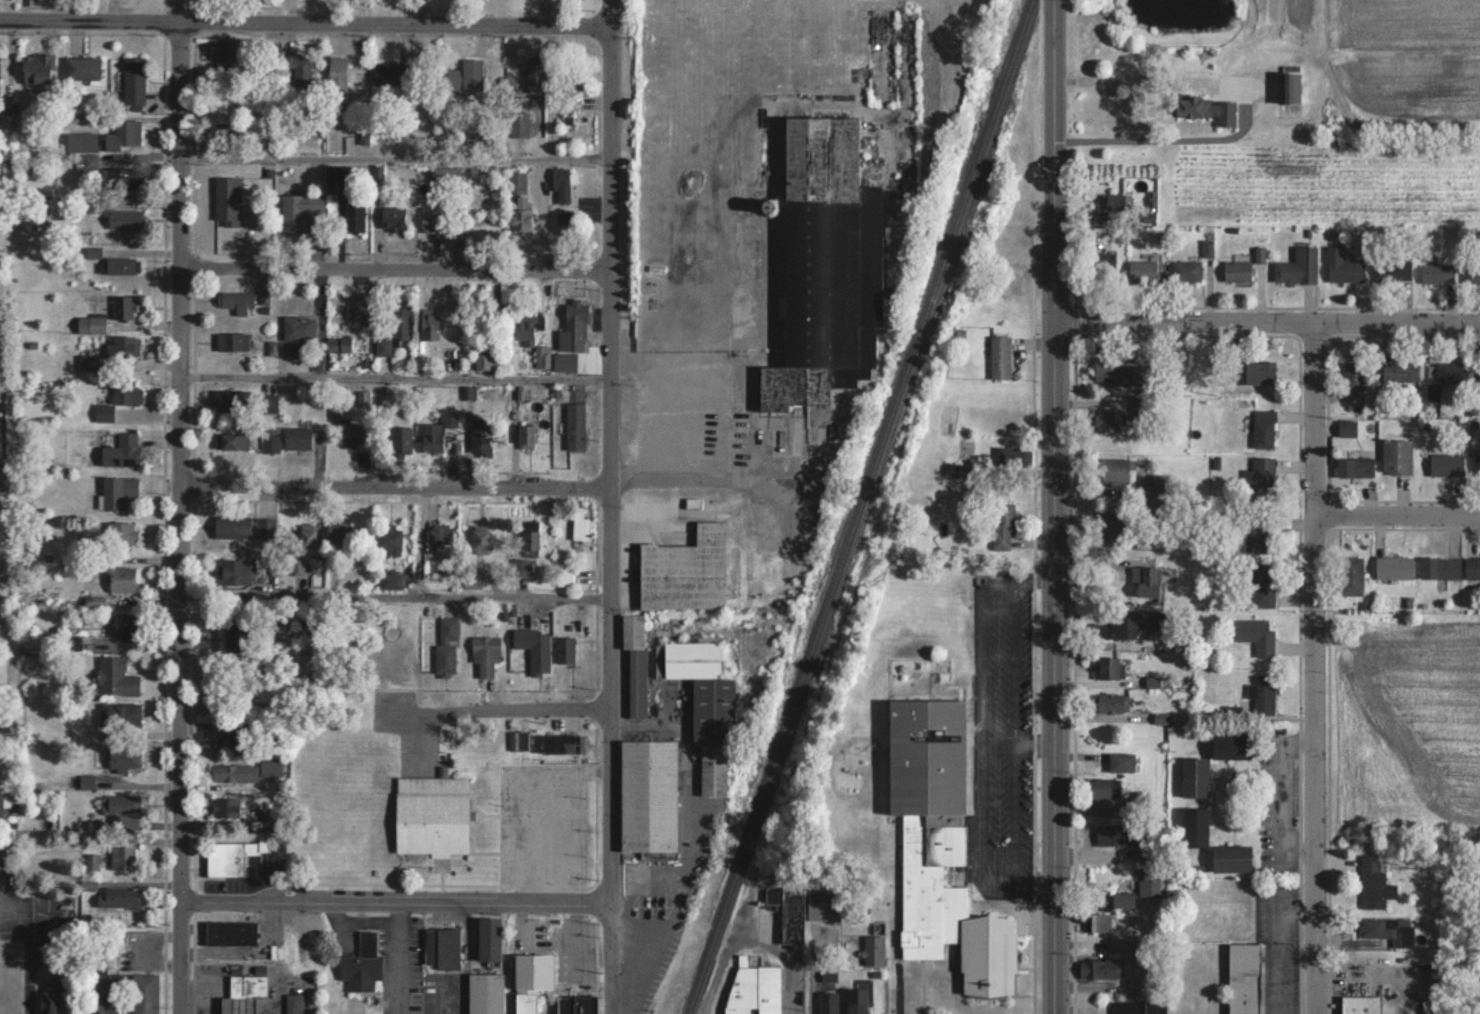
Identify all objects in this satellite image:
road: (298, 33)
building: (225, 52)
building: (295, 65)
building: (34, 68)
building: (79, 68)
building: (464, 75)
building: (335, 78)
building: (131, 79)
building: (1287, 86)
building: (1206, 108)
building: (121, 135)
building: (78, 141)
road: (1175, 141)
road: (388, 158)
building: (118, 178)
building: (561, 183)
building: (224, 200)
building: (517, 200)
building: (1115, 202)
building: (296, 210)
building: (351, 216)
building: (391, 217)
building: (121, 218)
building: (429, 218)
building: (117, 265)
building: (824, 266)
building: (1296, 266)
building: (1342, 267)
building: (1141, 269)
building: (1473, 269)
building: (1185, 270)
building: (1235, 270)
building: (1399, 270)
building: (1436, 273)
road: (388, 279)
building: (233, 300)
building: (120, 306)
building: (357, 313)
building: (88, 324)
building: (571, 326)
building: (297, 327)
building: (427, 327)
building: (393, 328)
building: (525, 328)
road: (1264, 333)
building: (230, 341)
building: (122, 349)
building: (540, 356)
building: (998, 356)
building: (85, 362)
building: (563, 362)
building: (1255, 371)
building: (1402, 371)
building: (1445, 372)
building: (1121, 373)
building: (1352, 375)
road: (388, 377)
building: (467, 391)
building: (123, 392)
building: (516, 392)
building: (227, 400)
road: (675, 400)
building: (448, 416)
building: (1105, 419)
building: (573, 426)
building: (1346, 427)
building: (349, 432)
building: (1262, 433)
building: (524, 436)
building: (295, 438)
building: (399, 440)
building: (231, 441)
building: (121, 450)
building: (1009, 455)
building: (1395, 456)
building: (1445, 464)
building: (1478, 464)
building: (1354, 466)
building: (1111, 471)
building: (1262, 478)
building: (1156, 482)
building: (115, 491)
road: (389, 496)
railway: (858, 506)
road: (1050, 506)
road: (173, 522)
building: (578, 525)
road: (1395, 525)
building: (242, 526)
building: (1003, 526)
road: (605, 527)
building: (119, 532)
building: (439, 533)
building: (1259, 536)
building: (527, 539)
building: (305, 540)
building: (389, 540)
building: (478, 540)
building: (519, 566)
building: (1393, 566)
building: (1439, 567)
building: (1472, 567)
building: (238, 571)
building: (683, 571)
building: (1350, 575)
building: (563, 576)
road: (1029, 577)
building: (119, 578)
building: (1261, 590)
road: (998, 591)
road: (389, 594)
building: (1126, 624)
building: (121, 626)
building: (1254, 633)
building: (230, 638)
building: (444, 647)
building: (532, 649)
building: (562, 649)
building: (483, 653)
building: (633, 661)
road: (1012, 665)
building: (1107, 668)
road: (1311, 673)
building: (114, 677)
building: (1260, 694)
building: (1108, 702)
building: (703, 706)
building: (120, 714)
road: (531, 716)
building: (226, 738)
road: (997, 742)
road: (1031, 743)
building: (1229, 745)
building: (120, 759)
building: (1120, 762)
building: (267, 767)
road: (981, 772)
building: (232, 773)
building: (1193, 777)
building: (1103, 788)
road: (1282, 797)
building: (647, 798)
building: (0, 800)
building: (223, 807)
building: (117, 810)
building: (430, 815)
road: (1013, 815)
building: (1192, 827)
building: (1117, 834)
building: (939, 847)
building: (1, 854)
building: (121, 857)
building: (227, 857)
building: (1229, 858)
building: (1374, 883)
building: (120, 898)
building: (1122, 899)
road: (390, 902)
building: (820, 905)
building: (779, 916)
building: (1093, 922)
building: (1388, 930)
building: (228, 933)
road: (751, 941)
road: (1277, 946)
building: (440, 949)
building: (872, 950)
building: (307, 954)
building: (359, 964)
building: (1100, 969)
road: (809, 970)
building: (1242, 978)
building: (244, 984)
building: (753, 990)
road: (899, 990)
building: (141, 993)
building: (483, 993)
building: (104, 994)
building: (46, 998)
building: (855, 1001)
building: (827, 1002)
building: (290, 1004)
building: (234, 1005)
building: (575, 1005)
building: (1360, 1005)
building: (1127, 1007)
building: (1279, 1013)

